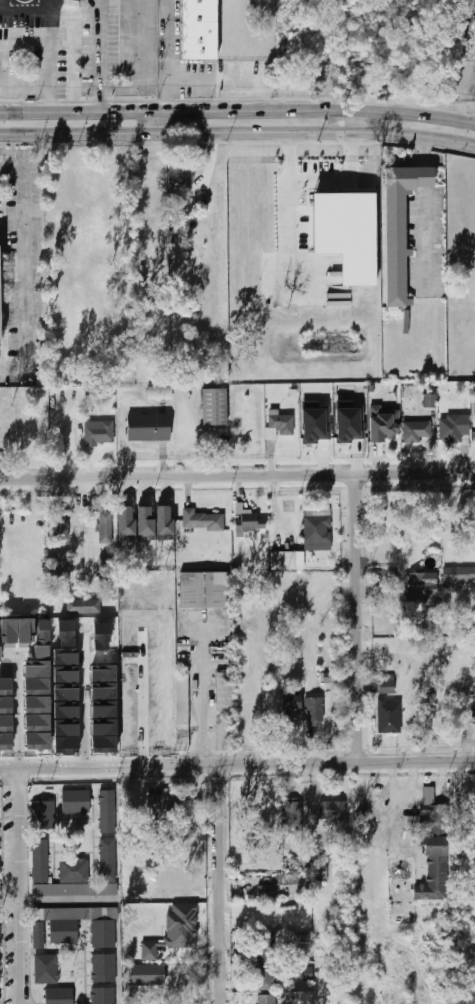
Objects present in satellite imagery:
road: (54, 21)
building: (200, 30)
road: (51, 50)
road: (103, 54)
road: (142, 63)
road: (176, 77)
street lamp: (133, 78)
road: (237, 106)
road: (162, 117)
road: (351, 118)
road: (237, 130)
road: (420, 150)
building: (177, 173)
road: (420, 177)
building: (422, 177)
road: (345, 180)
flagpole: (303, 200)
road: (292, 202)
building: (396, 233)
building: (348, 236)
road: (422, 236)
street lamp: (261, 279)
road: (28, 294)
street lamp: (325, 307)
street lamp: (274, 308)
building: (0, 342)
building: (160, 393)
building: (430, 400)
building: (215, 407)
building: (315, 423)
building: (349, 423)
building: (384, 424)
building: (280, 427)
building: (454, 428)
building: (417, 431)
building: (148, 432)
building: (100, 434)
road: (237, 476)
building: (158, 519)
building: (61, 521)
building: (203, 521)
building: (250, 521)
building: (145, 523)
building: (126, 524)
building: (105, 528)
building: (318, 529)
building: (283, 561)
building: (63, 568)
building: (105, 573)
building: (460, 575)
building: (422, 585)
building: (204, 590)
building: (83, 606)
road: (359, 618)
building: (26, 630)
building: (331, 666)
building: (37, 668)
building: (329, 677)
building: (37, 686)
building: (388, 686)
road: (202, 693)
building: (293, 702)
building: (6, 705)
road: (85, 705)
building: (183, 711)
building: (225, 711)
building: (315, 711)
building: (428, 715)
building: (390, 718)
building: (471, 719)
building: (6, 722)
road: (18, 727)
road: (237, 765)
building: (77, 802)
building: (430, 802)
building: (164, 806)
building: (333, 811)
building: (108, 813)
building: (44, 815)
building: (294, 816)
building: (411, 823)
building: (109, 860)
building: (41, 861)
building: (304, 864)
building: (321, 868)
building: (0, 872)
building: (434, 875)
building: (69, 881)
building: (302, 882)
road: (223, 884)
road: (19, 886)
building: (266, 893)
building: (59, 925)
building: (175, 931)
building: (104, 934)
building: (0, 936)
building: (266, 948)
building: (299, 949)
building: (104, 968)
building: (46, 969)
building: (0, 971)
building: (309, 974)
building: (141, 977)
building: (267, 977)
building: (58, 996)
building: (104, 996)
building: (302, 998)
building: (268, 999)

